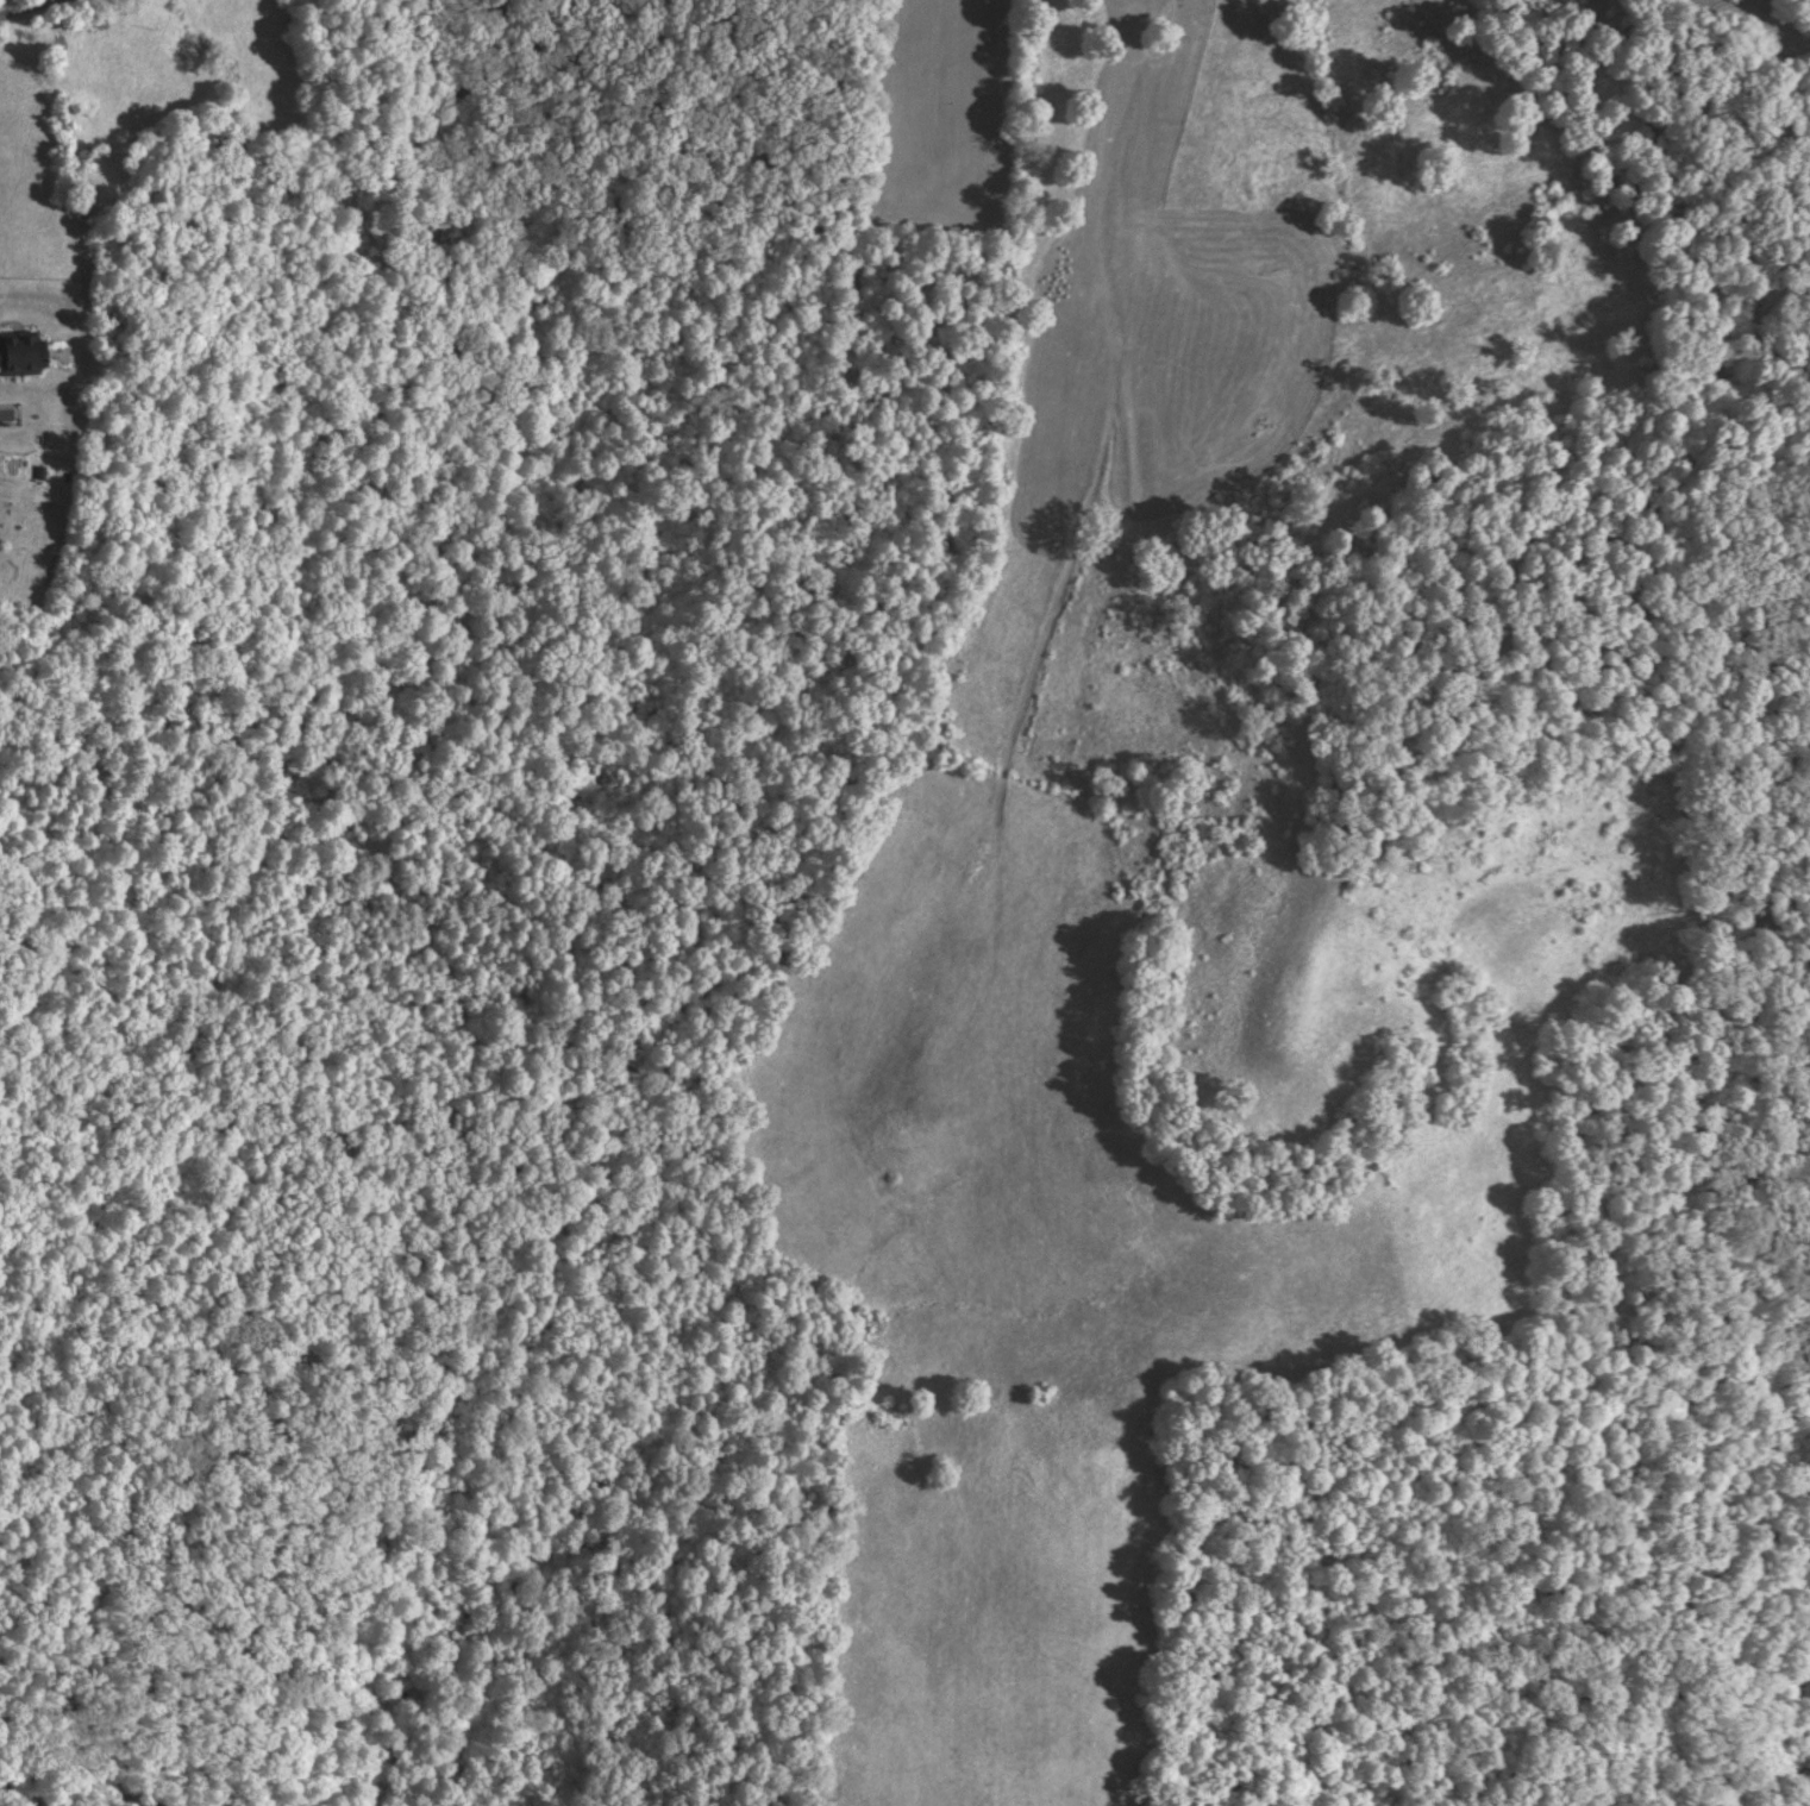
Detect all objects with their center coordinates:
building: (24, 356)

